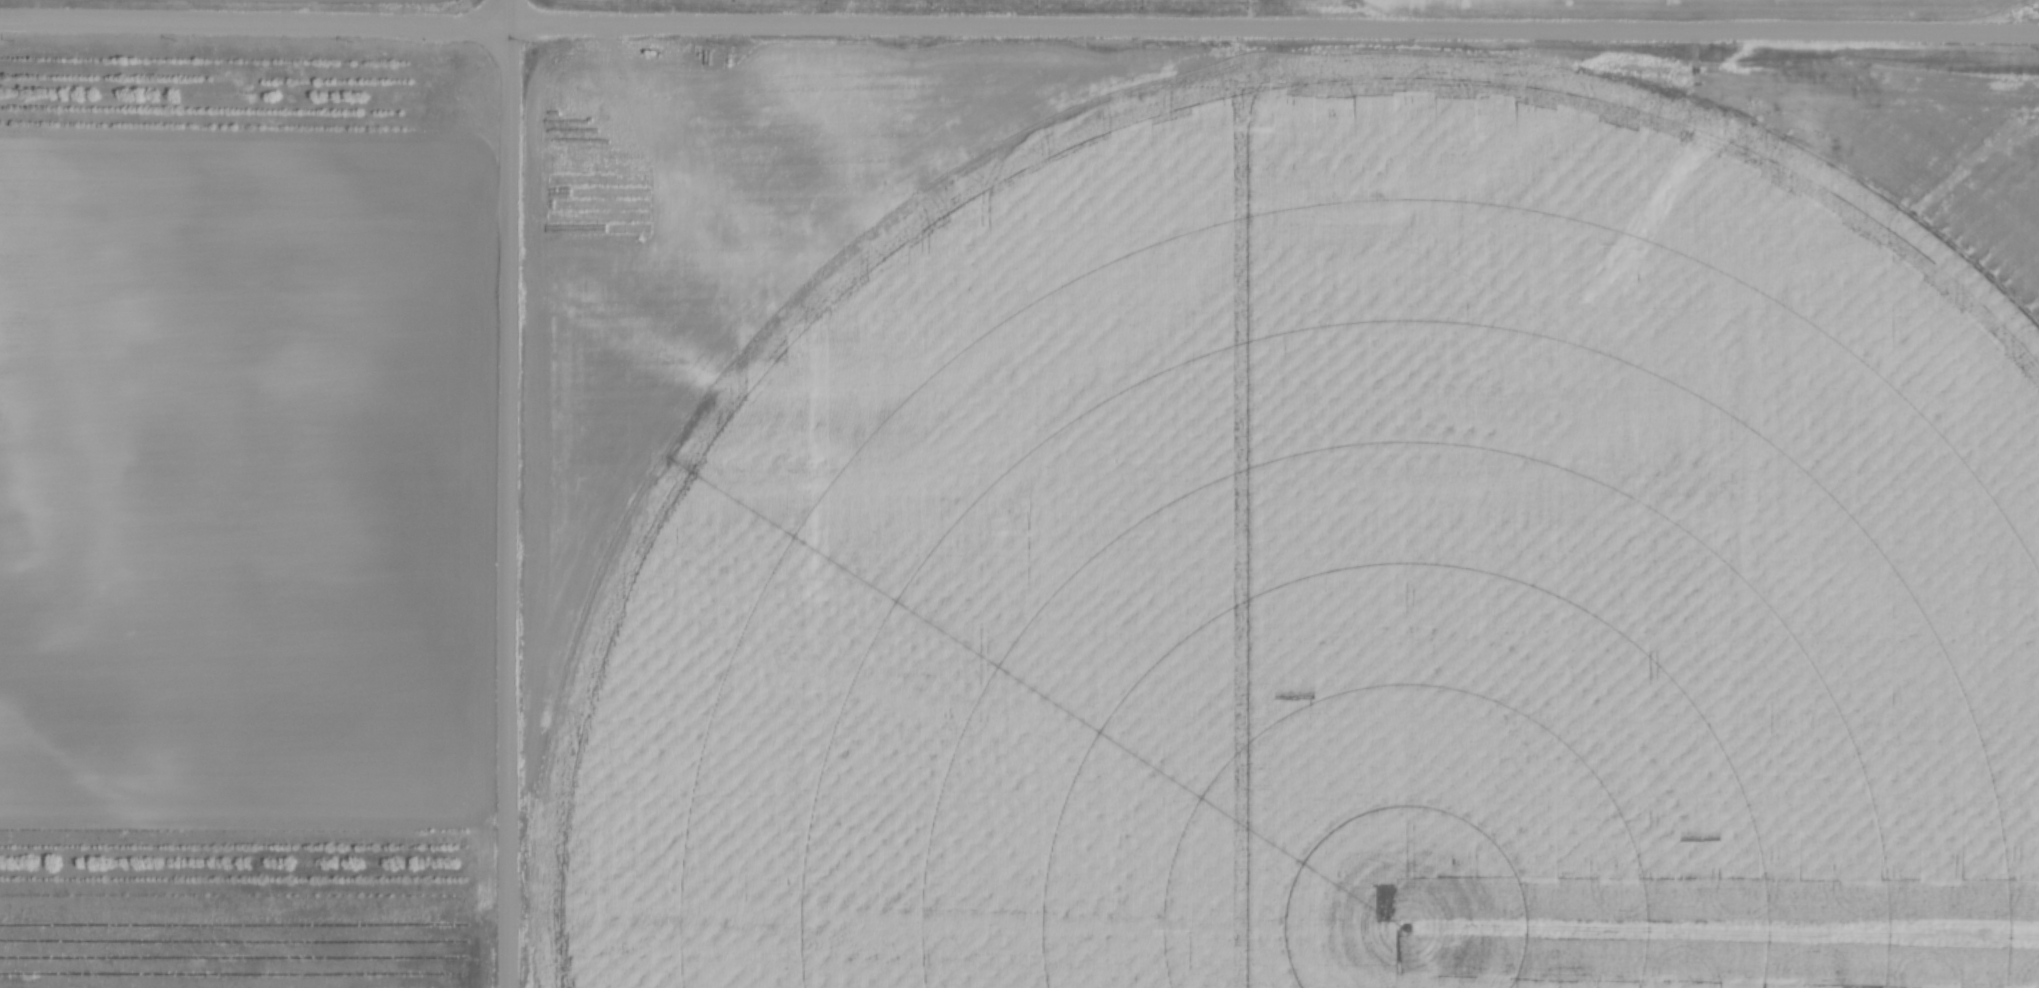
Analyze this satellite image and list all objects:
crop: (1476, 5)
road: (1019, 24)
crop: (249, 478)
road: (511, 494)
crop: (1303, 529)
building: (1039, 756)
building: (1114, 797)
building: (988, 859)
crop: (244, 947)

